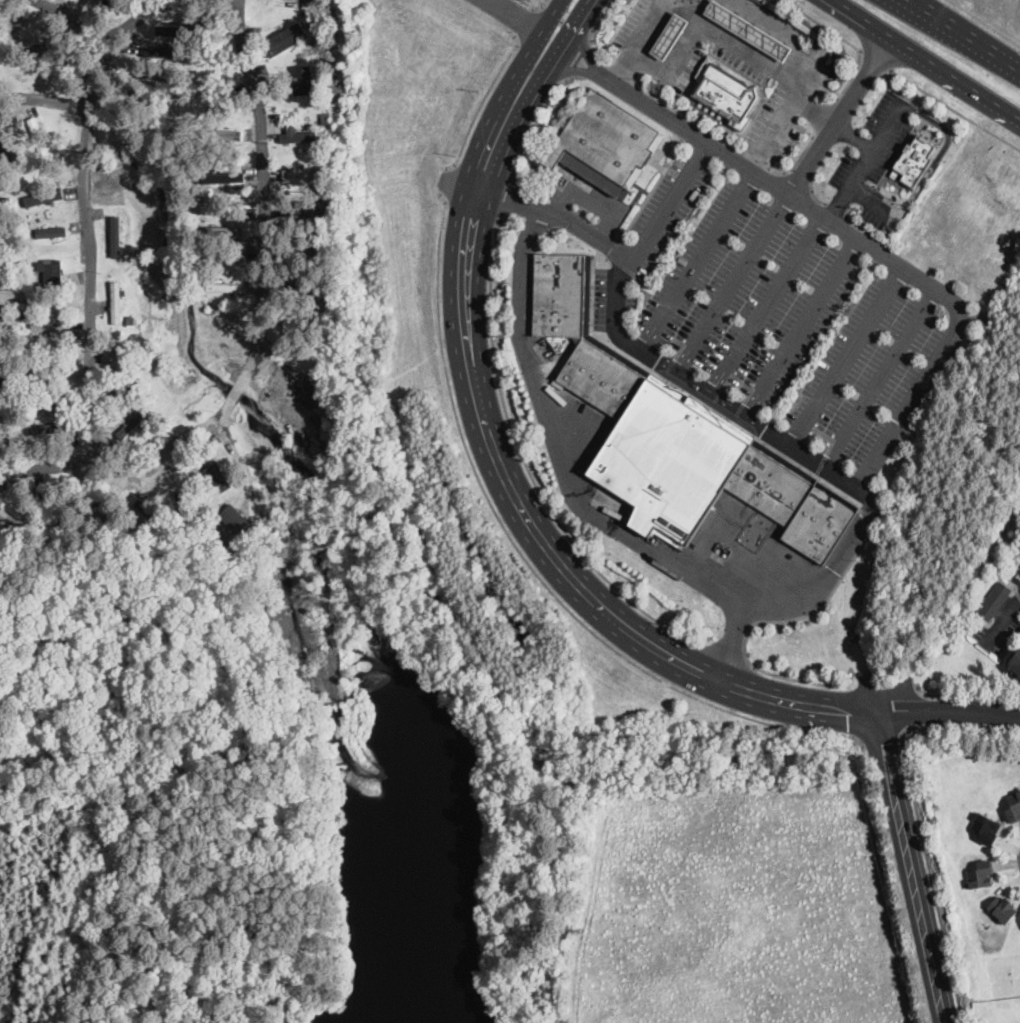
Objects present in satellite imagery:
road: (543, 5)
road: (534, 6)
road: (533, 7)
road: (515, 16)
road: (78, 17)
road: (598, 20)
road: (525, 21)
road: (565, 21)
road: (984, 23)
building: (310, 24)
parking lot: (642, 26)
road: (592, 28)
building: (170, 29)
building: (747, 29)
building: (178, 33)
road: (967, 34)
road: (569, 35)
building: (669, 36)
road: (638, 39)
building: (285, 40)
road: (847, 40)
road: (584, 42)
road: (531, 46)
road: (736, 46)
building: (170, 52)
road: (799, 56)
road: (578, 58)
road: (926, 58)
road: (875, 59)
road: (573, 67)
road: (673, 68)
building: (158, 73)
building: (305, 79)
parking lot: (796, 84)
road: (530, 85)
building: (725, 91)
road: (43, 101)
road: (482, 102)
road: (675, 108)
road: (954, 109)
road: (840, 114)
road: (824, 115)
building: (324, 121)
road: (532, 128)
road: (767, 128)
building: (220, 134)
road: (854, 135)
building: (38, 136)
building: (297, 136)
building: (605, 142)
road: (729, 143)
building: (319, 145)
road: (873, 148)
road: (942, 151)
parking lot: (874, 156)
building: (914, 160)
road: (795, 161)
road: (456, 163)
road: (484, 170)
building: (4, 171)
building: (305, 173)
road: (513, 174)
building: (223, 176)
road: (445, 180)
building: (326, 186)
building: (43, 196)
road: (875, 196)
road: (511, 198)
road: (446, 200)
road: (669, 201)
road: (836, 206)
building: (222, 209)
road: (473, 209)
road: (266, 210)
building: (304, 212)
road: (82, 213)
building: (16, 215)
road: (500, 219)
building: (6, 228)
building: (220, 230)
building: (52, 231)
building: (304, 245)
building: (222, 252)
road: (702, 260)
building: (13, 264)
building: (52, 271)
building: (5, 277)
road: (734, 281)
building: (295, 284)
building: (223, 287)
building: (16, 292)
building: (559, 294)
building: (116, 303)
road: (771, 305)
parking lot: (779, 312)
building: (132, 321)
building: (303, 321)
building: (4, 323)
building: (50, 326)
road: (805, 327)
building: (117, 331)
road: (848, 355)
building: (48, 373)
road: (881, 376)
building: (602, 377)
building: (2, 382)
building: (123, 391)
building: (310, 393)
building: (52, 398)
building: (11, 412)
building: (58, 422)
building: (44, 427)
building: (127, 428)
building: (327, 431)
building: (20, 443)
road: (560, 448)
building: (7, 449)
road: (875, 456)
road: (524, 460)
building: (668, 460)
road: (88, 466)
building: (193, 472)
building: (212, 478)
building: (769, 484)
building: (96, 498)
building: (50, 502)
road: (521, 508)
building: (147, 509)
building: (185, 511)
building: (9, 519)
building: (820, 521)
building: (54, 531)
building: (4, 532)
road: (526, 559)
road: (806, 596)
building: (994, 601)
road: (1001, 619)
road: (724, 656)
building: (1016, 663)
road: (802, 680)
road: (884, 686)
road: (925, 693)
road: (967, 694)
road: (915, 709)
road: (948, 709)
road: (908, 727)
road: (901, 734)
road: (878, 735)
building: (1014, 809)
road: (918, 820)
building: (985, 828)
road: (907, 866)
building: (980, 874)
park: (453, 889)
building: (1002, 910)

